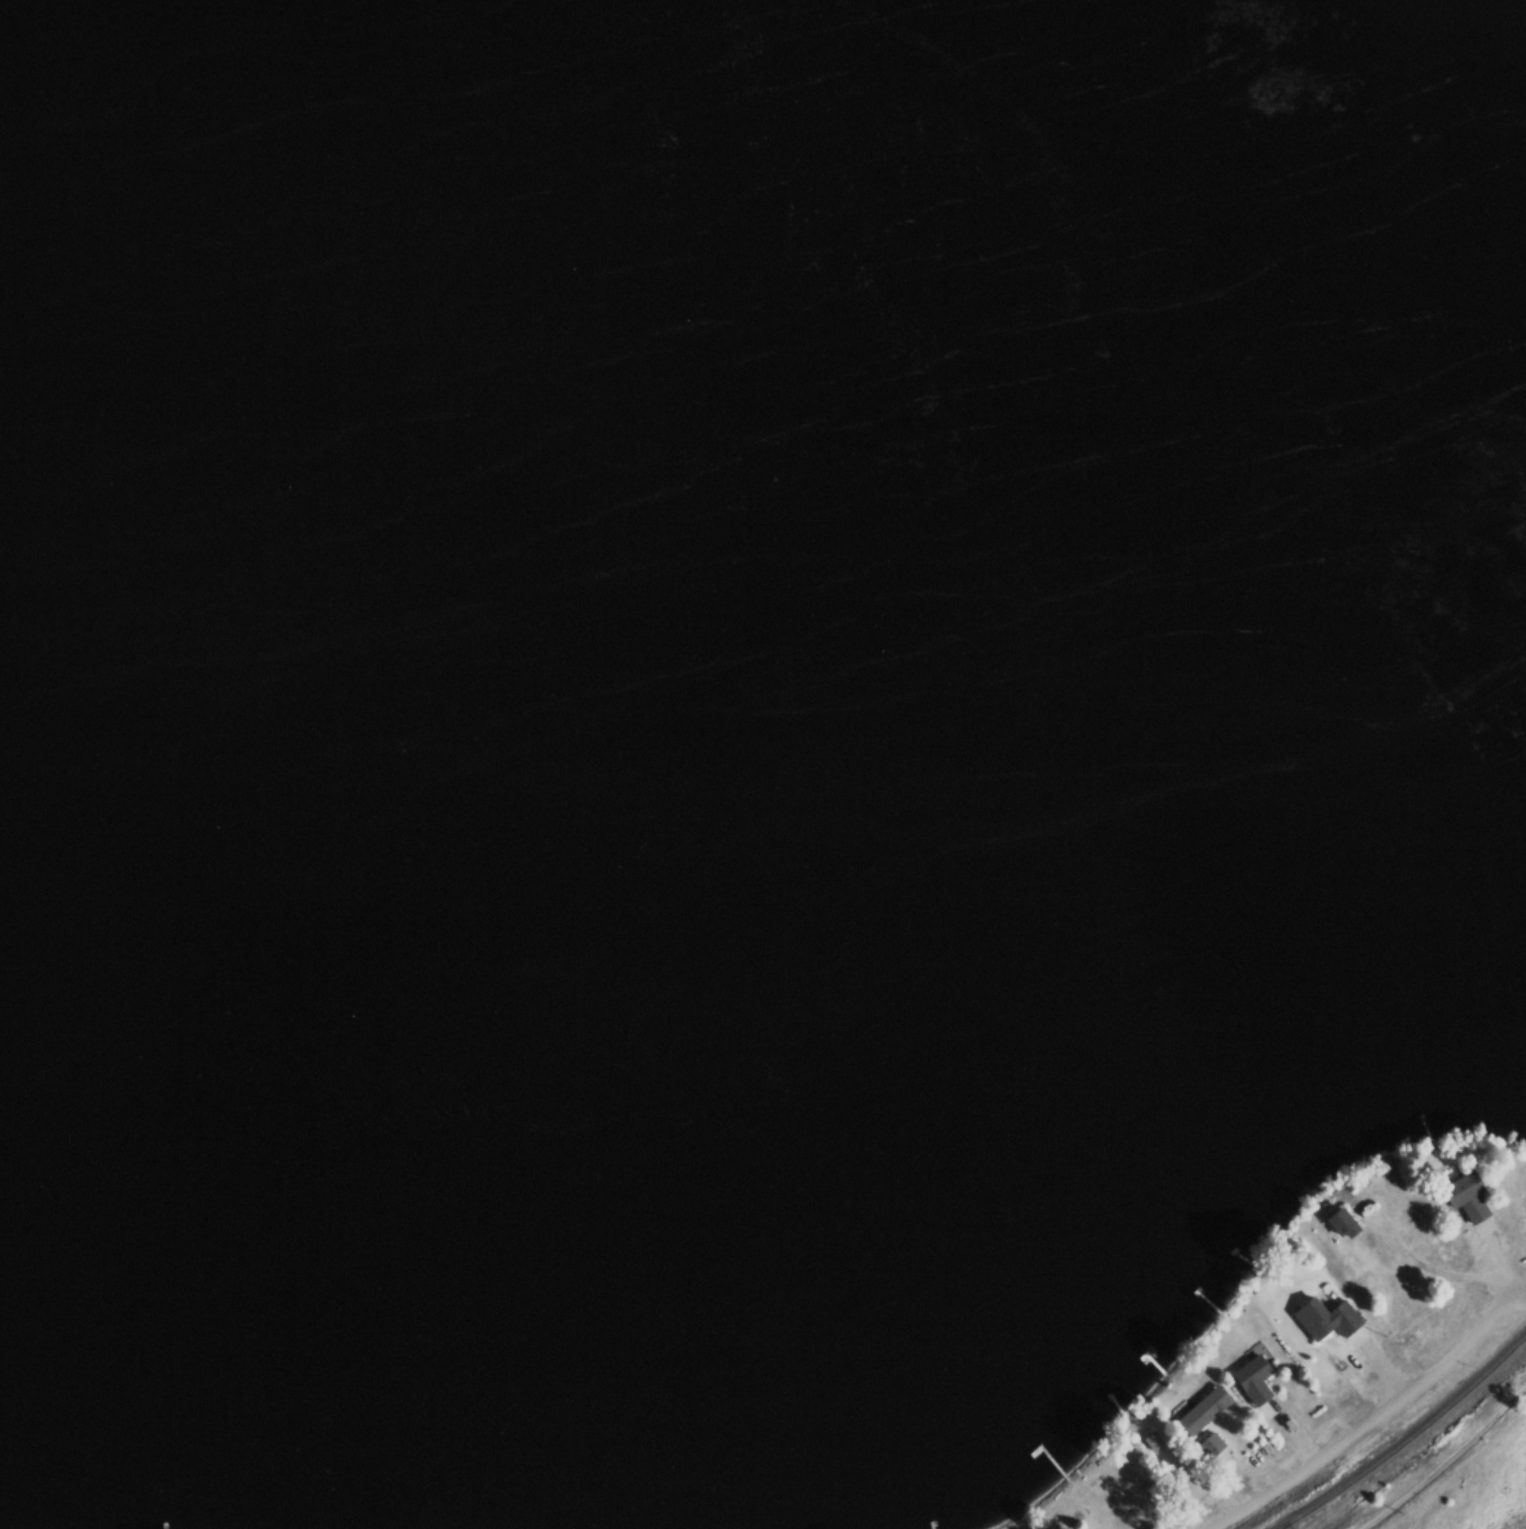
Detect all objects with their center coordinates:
river: (1033, 267)
river: (1212, 524)
river: (441, 570)
building: (1463, 1198)
building: (1338, 1224)
building: (1307, 1316)
building: (1342, 1319)
building: (1251, 1380)
building: (1199, 1411)
road: (1388, 1425)
railway: (1407, 1438)
building: (1151, 1442)
building: (1208, 1446)
road: (1451, 1471)
railway: (1283, 1526)

